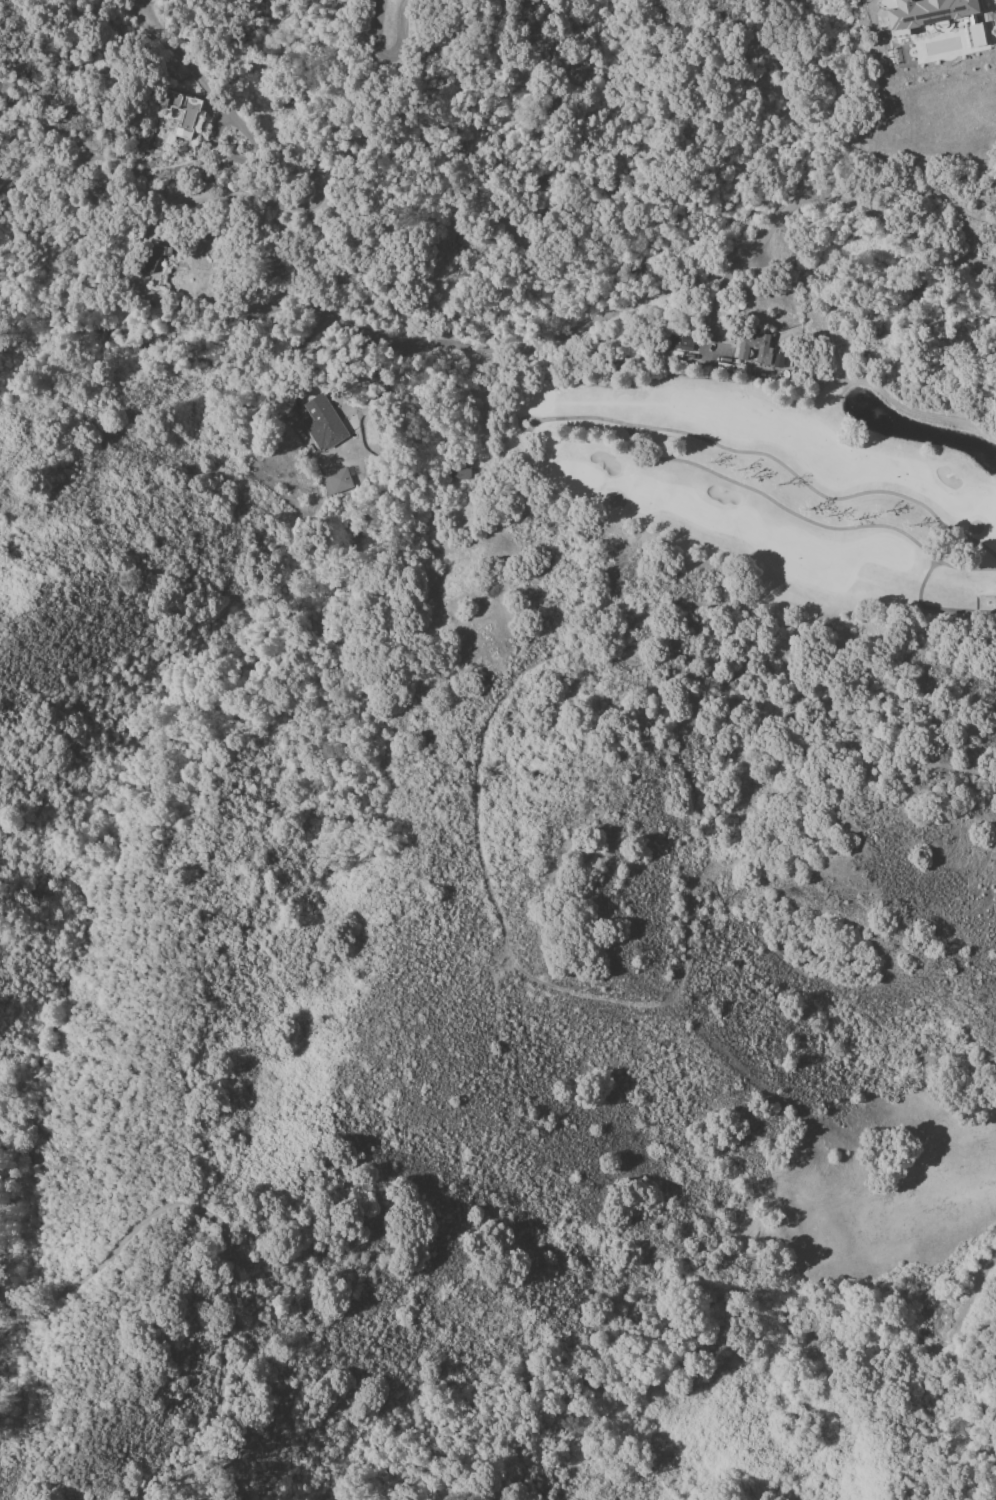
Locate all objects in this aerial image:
building: (888, 3)
building: (929, 12)
road: (778, 16)
building: (974, 35)
building: (192, 116)
road: (838, 159)
road: (420, 172)
building: (154, 258)
road: (992, 264)
road: (619, 291)
road: (635, 296)
road: (321, 315)
building: (754, 348)
building: (324, 420)
park: (771, 483)
road: (218, 1228)

